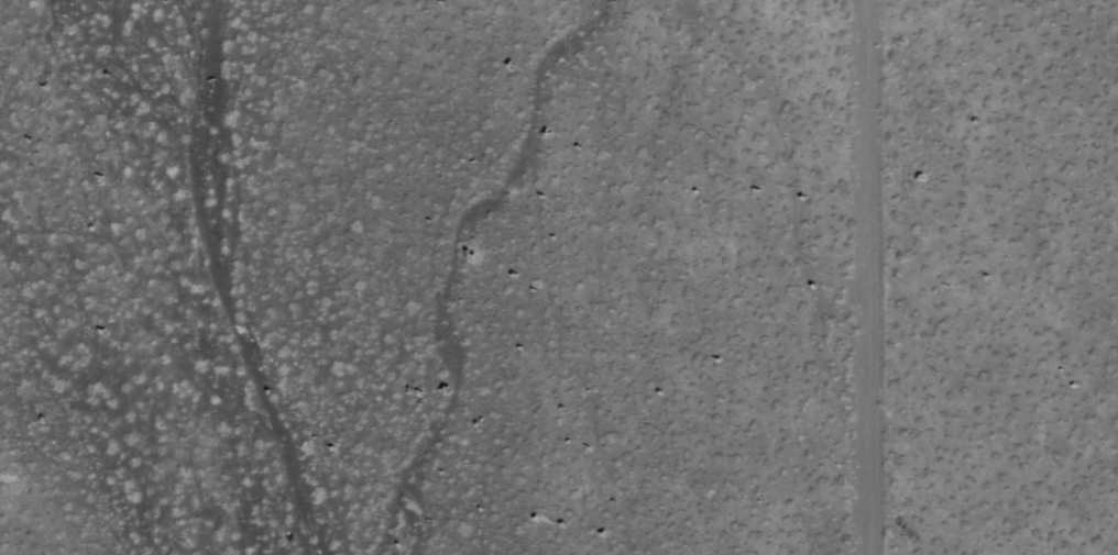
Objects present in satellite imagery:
road: (873, 277)

